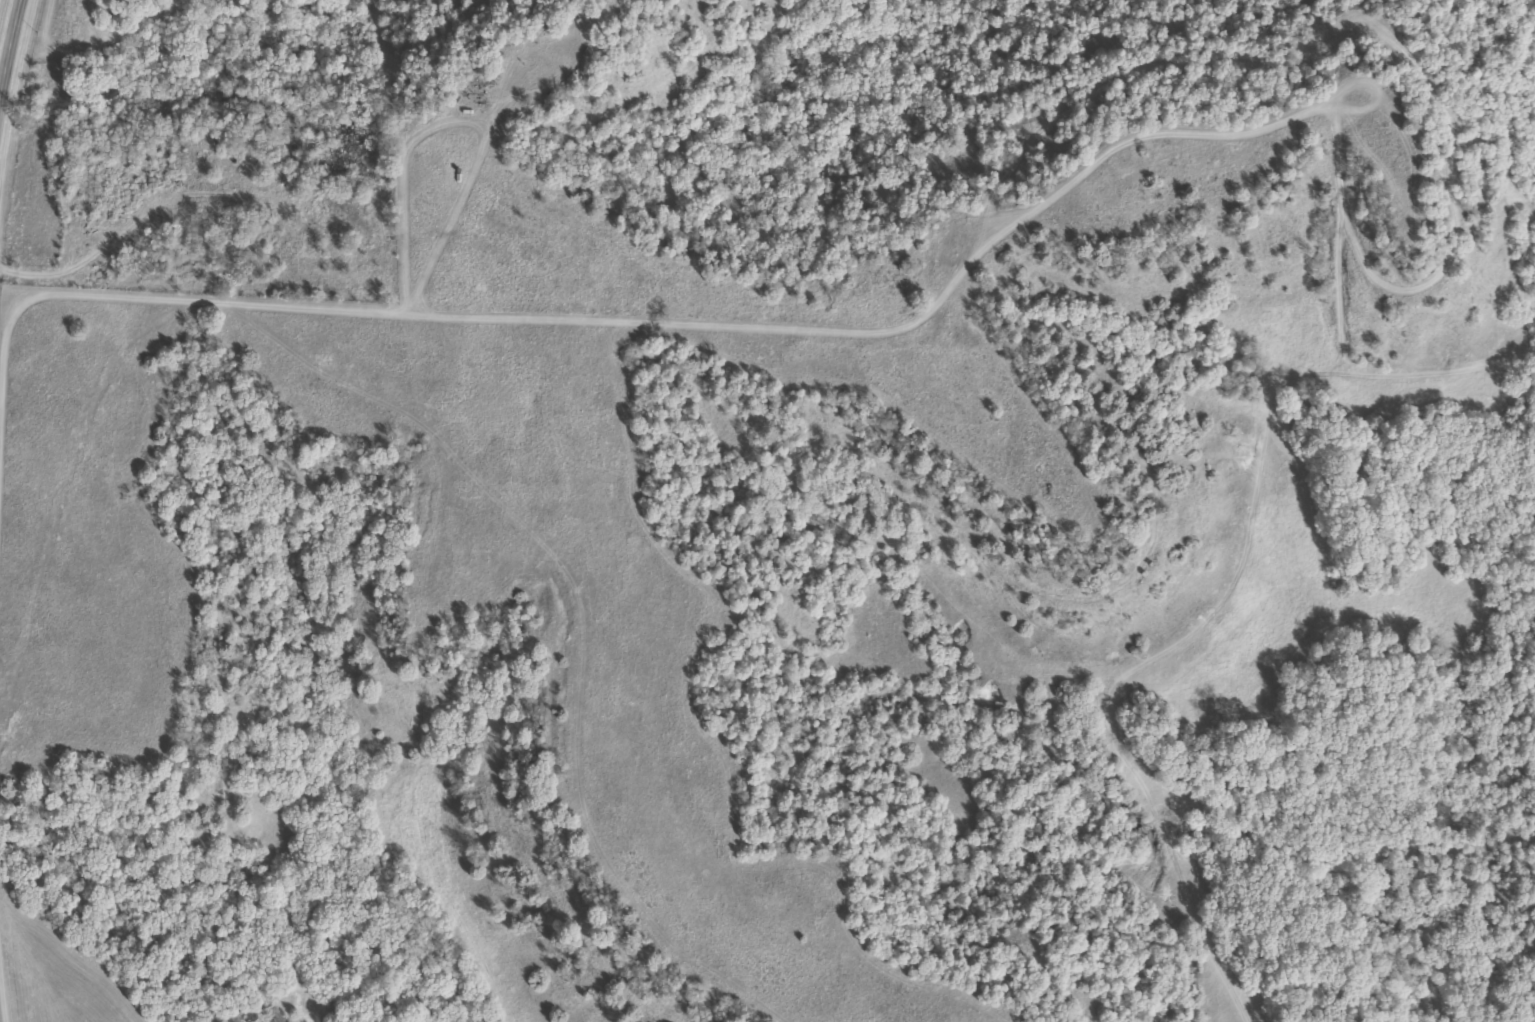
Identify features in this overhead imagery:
road: (10, 56)
road: (132, 257)

